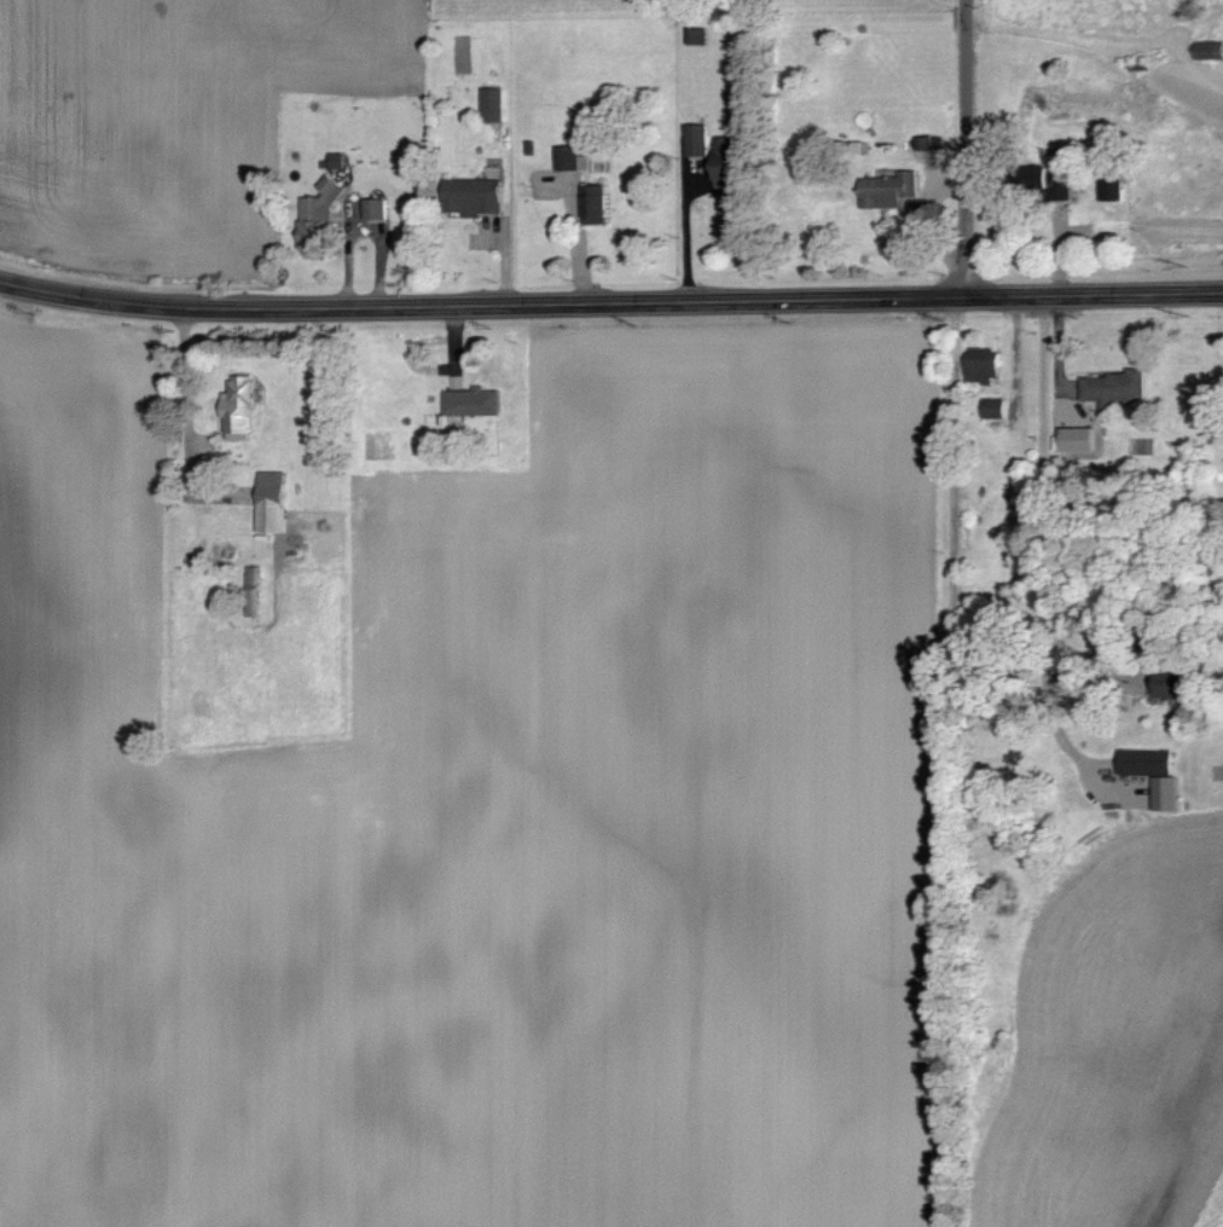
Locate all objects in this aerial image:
building: (498, 104)
building: (702, 140)
road: (967, 147)
building: (574, 157)
building: (731, 161)
building: (336, 187)
building: (1072, 189)
building: (1115, 189)
building: (895, 190)
building: (480, 196)
building: (601, 204)
building: (381, 209)
road: (689, 236)
building: (317, 243)
road: (610, 302)
building: (990, 366)
building: (1117, 388)
building: (477, 401)
building: (244, 405)
building: (999, 407)
building: (278, 502)
road: (1043, 540)
building: (260, 583)
building: (1184, 684)
building: (1159, 775)

